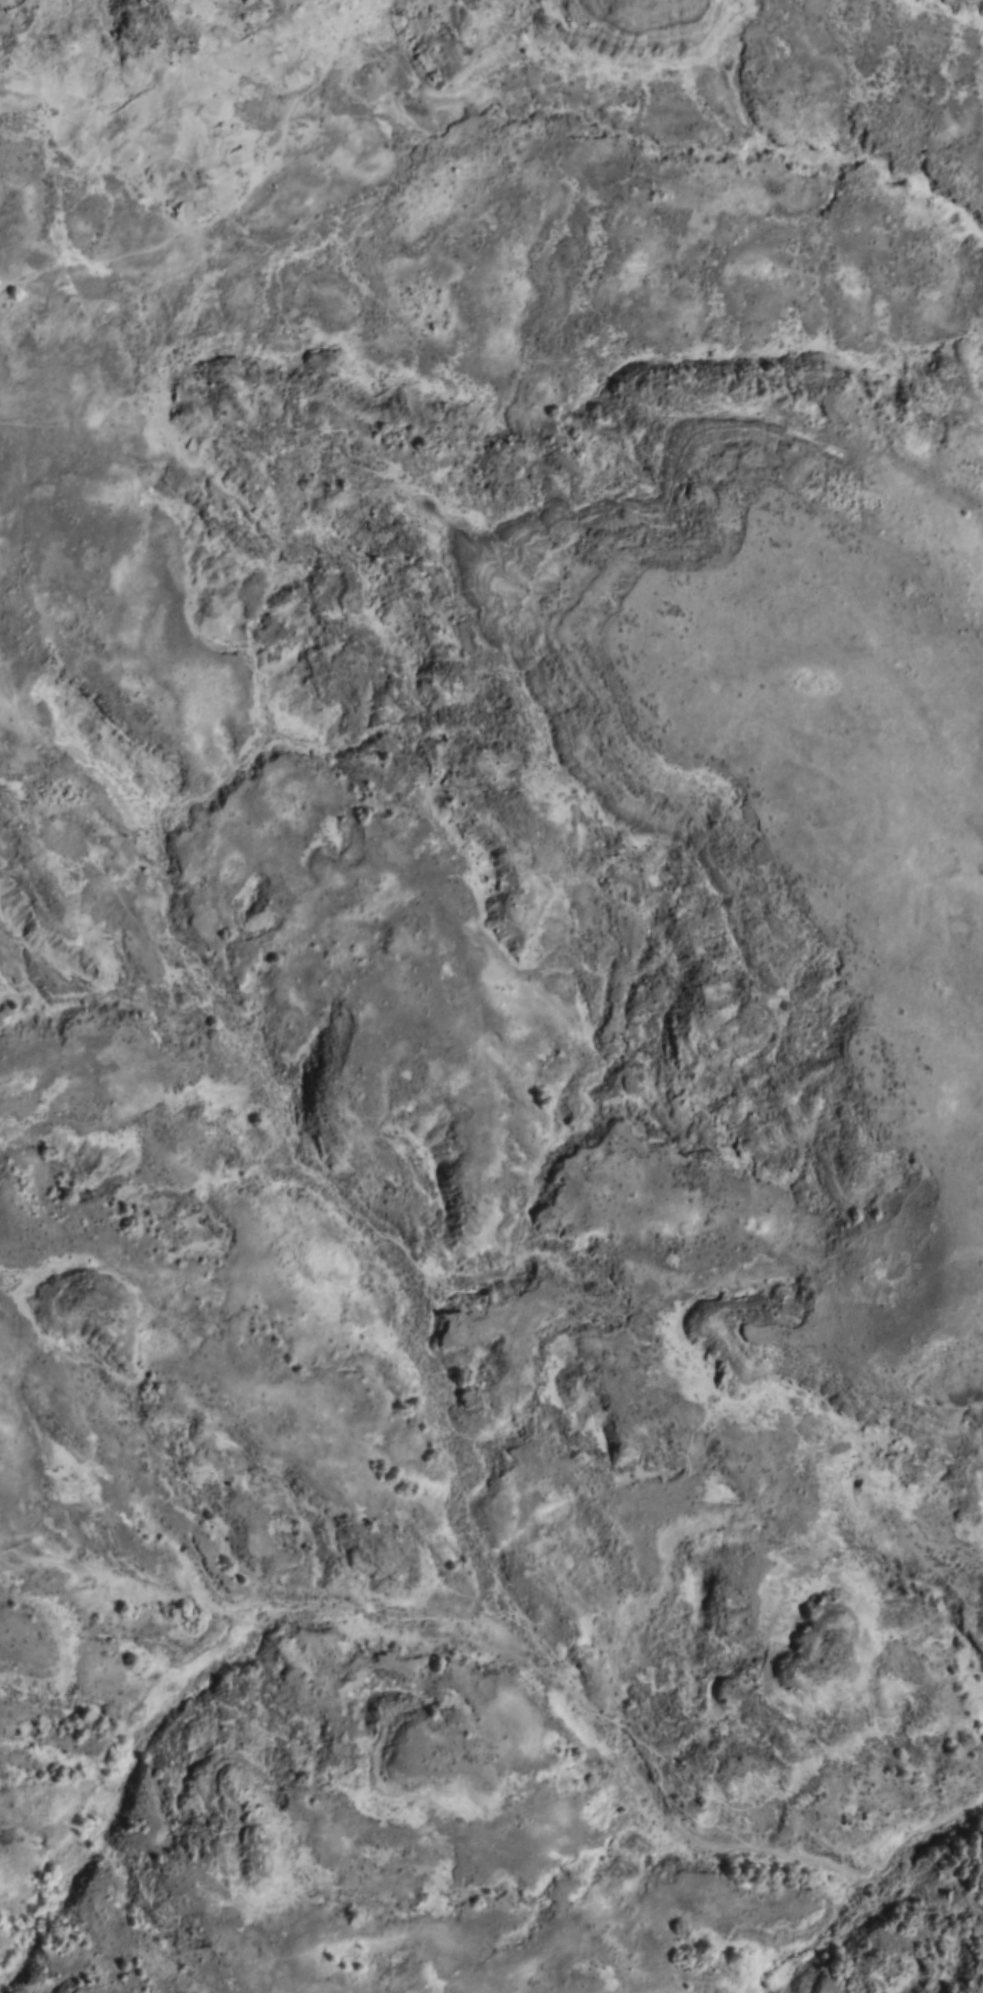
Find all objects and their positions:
road: (231, 208)

